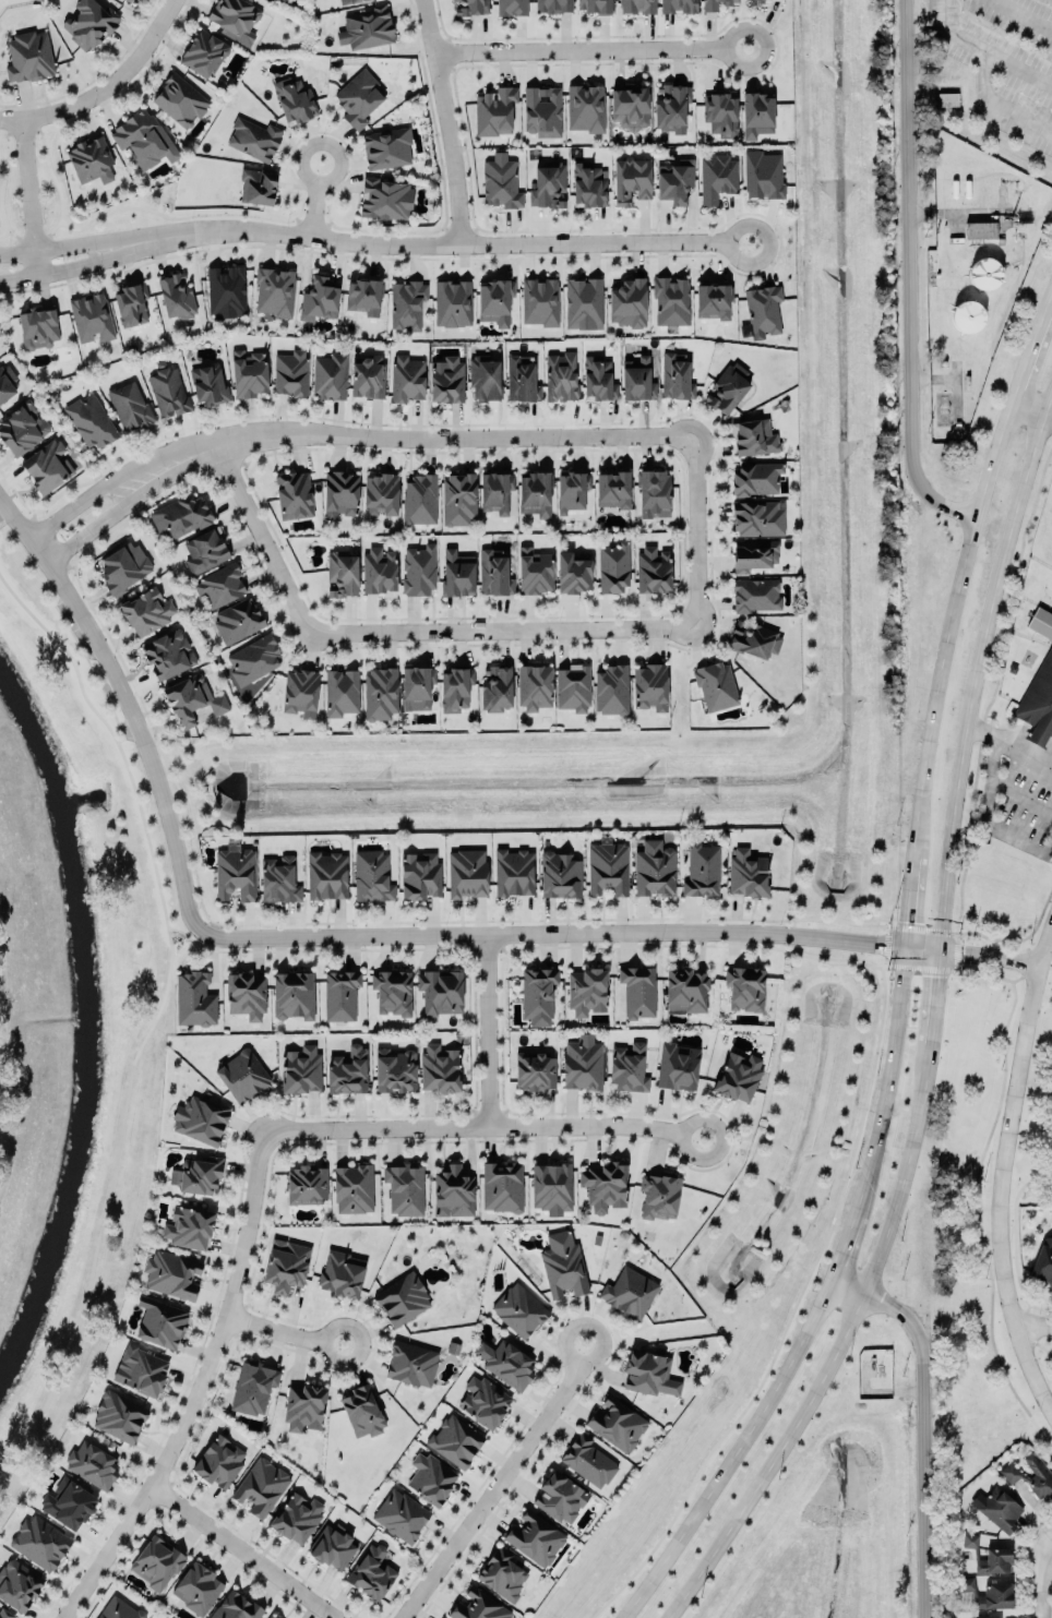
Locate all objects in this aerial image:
building: (129, 0)
building: (132, 0)
building: (762, 0)
building: (349, 1)
building: (714, 4)
building: (553, 5)
building: (471, 7)
building: (512, 7)
building: (596, 7)
building: (637, 7)
building: (678, 7)
road: (1025, 14)
building: (236, 19)
building: (89, 24)
building: (367, 27)
road: (770, 27)
road: (446, 44)
road: (593, 48)
road: (990, 50)
building: (204, 52)
building: (28, 56)
road: (447, 57)
road: (94, 75)
road: (105, 87)
building: (359, 97)
building: (947, 98)
building: (180, 99)
building: (295, 100)
road: (996, 103)
building: (671, 105)
road: (96, 107)
building: (630, 107)
building: (586, 108)
building: (494, 110)
building: (542, 110)
building: (721, 113)
building: (756, 116)
road: (449, 121)
road: (38, 128)
road: (1, 137)
building: (254, 137)
building: (144, 139)
building: (387, 147)
road: (351, 156)
building: (91, 160)
road: (3, 173)
building: (763, 175)
building: (717, 177)
building: (632, 179)
building: (674, 181)
building: (501, 183)
building: (548, 184)
building: (258, 185)
building: (588, 185)
road: (28, 196)
building: (386, 199)
road: (312, 207)
building: (980, 229)
road: (13, 232)
road: (34, 235)
road: (451, 236)
road: (471, 236)
road: (433, 243)
road: (63, 245)
road: (777, 251)
road: (152, 257)
road: (64, 269)
water tower: (984, 273)
building: (984, 274)
road: (910, 276)
building: (226, 291)
building: (275, 291)
building: (176, 296)
building: (364, 297)
building: (319, 299)
building: (671, 300)
building: (714, 300)
building: (495, 301)
building: (540, 301)
building: (453, 303)
building: (583, 303)
building: (629, 303)
building: (131, 304)
building: (407, 304)
road: (1050, 308)
building: (763, 309)
water tower: (967, 315)
building: (968, 315)
building: (92, 317)
building: (38, 326)
road: (1032, 355)
building: (291, 372)
building: (249, 373)
building: (677, 375)
building: (331, 376)
building: (367, 376)
building: (562, 376)
building: (407, 379)
building: (486, 379)
building: (599, 379)
building: (522, 380)
building: (638, 380)
building: (447, 381)
building: (7, 383)
building: (210, 385)
building: (728, 388)
building: (168, 392)
road: (1016, 401)
building: (131, 406)
road: (1030, 410)
road: (1049, 417)
building: (92, 420)
building: (23, 430)
road: (421, 436)
building: (753, 436)
road: (243, 460)
road: (228, 464)
road: (246, 466)
building: (48, 467)
road: (215, 471)
building: (755, 478)
road: (15, 489)
building: (613, 490)
building: (497, 491)
road: (89, 492)
building: (573, 492)
building: (655, 493)
building: (340, 494)
building: (381, 494)
building: (536, 494)
building: (294, 495)
building: (459, 498)
building: (420, 500)
road: (40, 506)
road: (34, 513)
building: (180, 516)
road: (105, 517)
building: (757, 517)
road: (697, 530)
park: (1045, 532)
road: (264, 538)
road: (49, 541)
building: (205, 550)
building: (754, 555)
road: (71, 565)
building: (123, 566)
building: (614, 568)
building: (419, 571)
building: (573, 571)
building: (654, 571)
building: (380, 572)
building: (494, 572)
building: (457, 573)
building: (535, 573)
building: (342, 574)
road: (684, 574)
building: (220, 586)
building: (756, 595)
road: (283, 603)
building: (146, 612)
building: (238, 621)
building: (1041, 622)
road: (949, 627)
road: (506, 631)
building: (754, 639)
building: (168, 656)
building: (254, 659)
road: (93, 669)
road: (977, 669)
building: (418, 686)
building: (651, 687)
building: (716, 687)
building: (455, 688)
building: (497, 688)
building: (535, 688)
building: (574, 688)
building: (611, 688)
road: (995, 690)
building: (300, 692)
building: (342, 692)
building: (381, 694)
road: (127, 700)
building: (192, 700)
building: (1038, 703)
road: (128, 734)
road: (117, 742)
road: (1009, 743)
road: (987, 816)
building: (609, 865)
building: (655, 866)
building: (515, 868)
building: (748, 868)
building: (703, 870)
building: (466, 871)
building: (561, 871)
building: (236, 872)
building: (420, 872)
building: (327, 873)
building: (372, 874)
building: (279, 876)
road: (909, 901)
road: (1040, 916)
road: (892, 923)
road: (888, 926)
road: (922, 927)
road: (183, 932)
road: (954, 932)
road: (551, 933)
road: (995, 936)
road: (957, 938)
road: (887, 942)
road: (488, 947)
road: (502, 948)
road: (922, 948)
road: (471, 949)
road: (957, 951)
road: (990, 954)
road: (886, 961)
road: (1025, 961)
road: (889, 964)
road: (921, 967)
road: (954, 969)
road: (964, 975)
road: (1004, 978)
building: (746, 984)
building: (393, 988)
building: (441, 988)
building: (538, 988)
building: (638, 988)
building: (246, 990)
building: (294, 990)
building: (686, 990)
building: (587, 991)
building: (342, 992)
building: (195, 996)
road: (501, 1012)
river: (88, 1026)
road: (488, 1029)
building: (583, 1059)
building: (630, 1064)
building: (678, 1064)
building: (301, 1066)
building: (440, 1066)
building: (395, 1067)
building: (536, 1067)
building: (348, 1070)
building: (739, 1072)
building: (243, 1074)
road: (888, 1077)
road: (10, 1082)
road: (505, 1110)
road: (475, 1111)
road: (299, 1113)
road: (490, 1113)
building: (201, 1117)
road: (692, 1120)
road: (473, 1125)
road: (1012, 1168)
building: (198, 1175)
building: (307, 1182)
building: (553, 1184)
building: (605, 1185)
building: (404, 1186)
building: (502, 1186)
building: (354, 1187)
building: (453, 1187)
building: (658, 1191)
road: (105, 1215)
road: (978, 1224)
building: (188, 1226)
road: (845, 1242)
road: (1016, 1259)
building: (286, 1261)
building: (1043, 1261)
building: (564, 1268)
building: (172, 1271)
building: (342, 1271)
building: (629, 1292)
building: (403, 1296)
road: (246, 1303)
road: (796, 1303)
road: (857, 1305)
building: (517, 1307)
road: (240, 1318)
building: (163, 1319)
road: (314, 1320)
road: (577, 1322)
road: (1037, 1323)
road: (332, 1327)
road: (275, 1328)
road: (238, 1333)
building: (413, 1361)
building: (506, 1363)
building: (143, 1368)
building: (647, 1370)
building: (253, 1385)
road: (199, 1389)
building: (483, 1401)
building: (306, 1403)
building: (362, 1410)
building: (119, 1416)
road: (922, 1422)
building: (617, 1424)
road: (521, 1426)
building: (455, 1438)
road: (734, 1452)
building: (219, 1458)
building: (586, 1460)
building: (93, 1461)
building: (1009, 1472)
building: (431, 1475)
building: (1038, 1478)
road: (171, 1481)
building: (262, 1484)
road: (493, 1490)
road: (162, 1491)
road: (505, 1495)
building: (561, 1497)
building: (69, 1503)
road: (155, 1506)
building: (1000, 1507)
building: (402, 1512)
building: (297, 1517)
road: (183, 1523)
building: (536, 1537)
road: (1048, 1538)
building: (40, 1539)
building: (333, 1543)
road: (243, 1553)
building: (157, 1558)
building: (994, 1560)
building: (371, 1572)
building: (503, 1572)
road: (1043, 1579)
building: (20, 1581)
building: (198, 1587)
building: (989, 1592)
building: (236, 1606)
building: (478, 1606)
building: (119, 1608)
building: (5, 1614)
building: (987, 1615)
building: (272, 1616)

